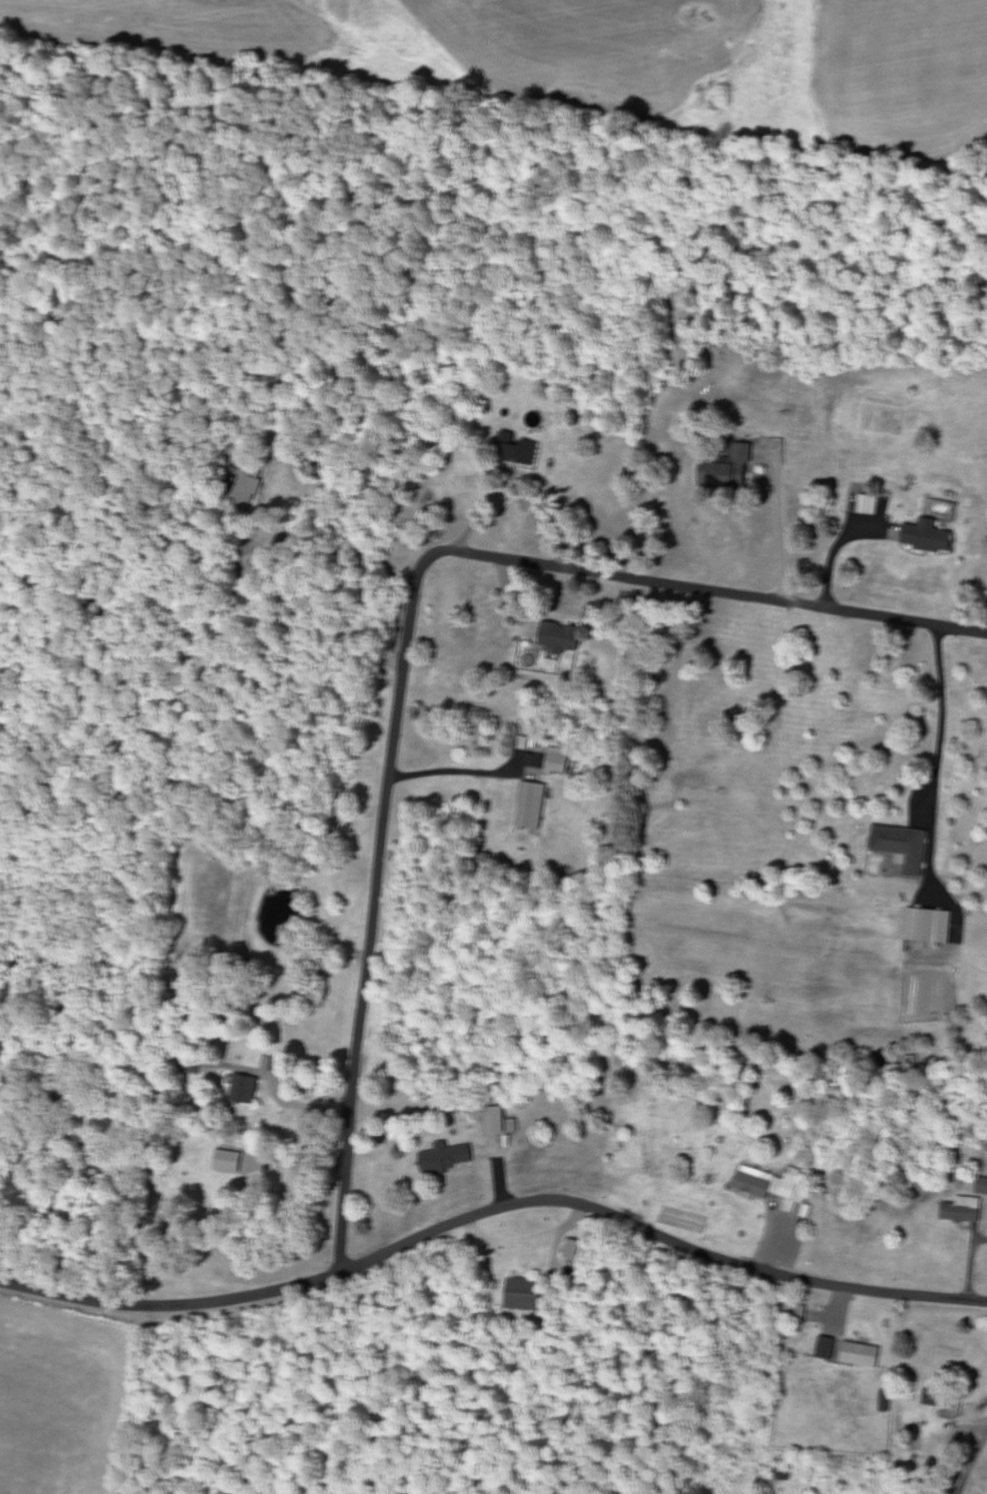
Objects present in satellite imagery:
building: (518, 450)
building: (731, 468)
building: (250, 482)
building: (871, 505)
road: (784, 522)
road: (377, 534)
building: (931, 537)
road: (411, 638)
building: (563, 638)
road: (940, 724)
building: (559, 762)
building: (535, 806)
building: (905, 847)
building: (931, 925)
building: (247, 1089)
building: (502, 1121)
building: (448, 1158)
building: (237, 1162)
building: (983, 1185)
building: (776, 1187)
building: (967, 1210)
road: (491, 1212)
building: (576, 1249)
building: (529, 1294)
building: (799, 1311)
building: (830, 1348)
building: (865, 1354)
building: (942, 1399)
building: (888, 1401)
road: (975, 1467)

